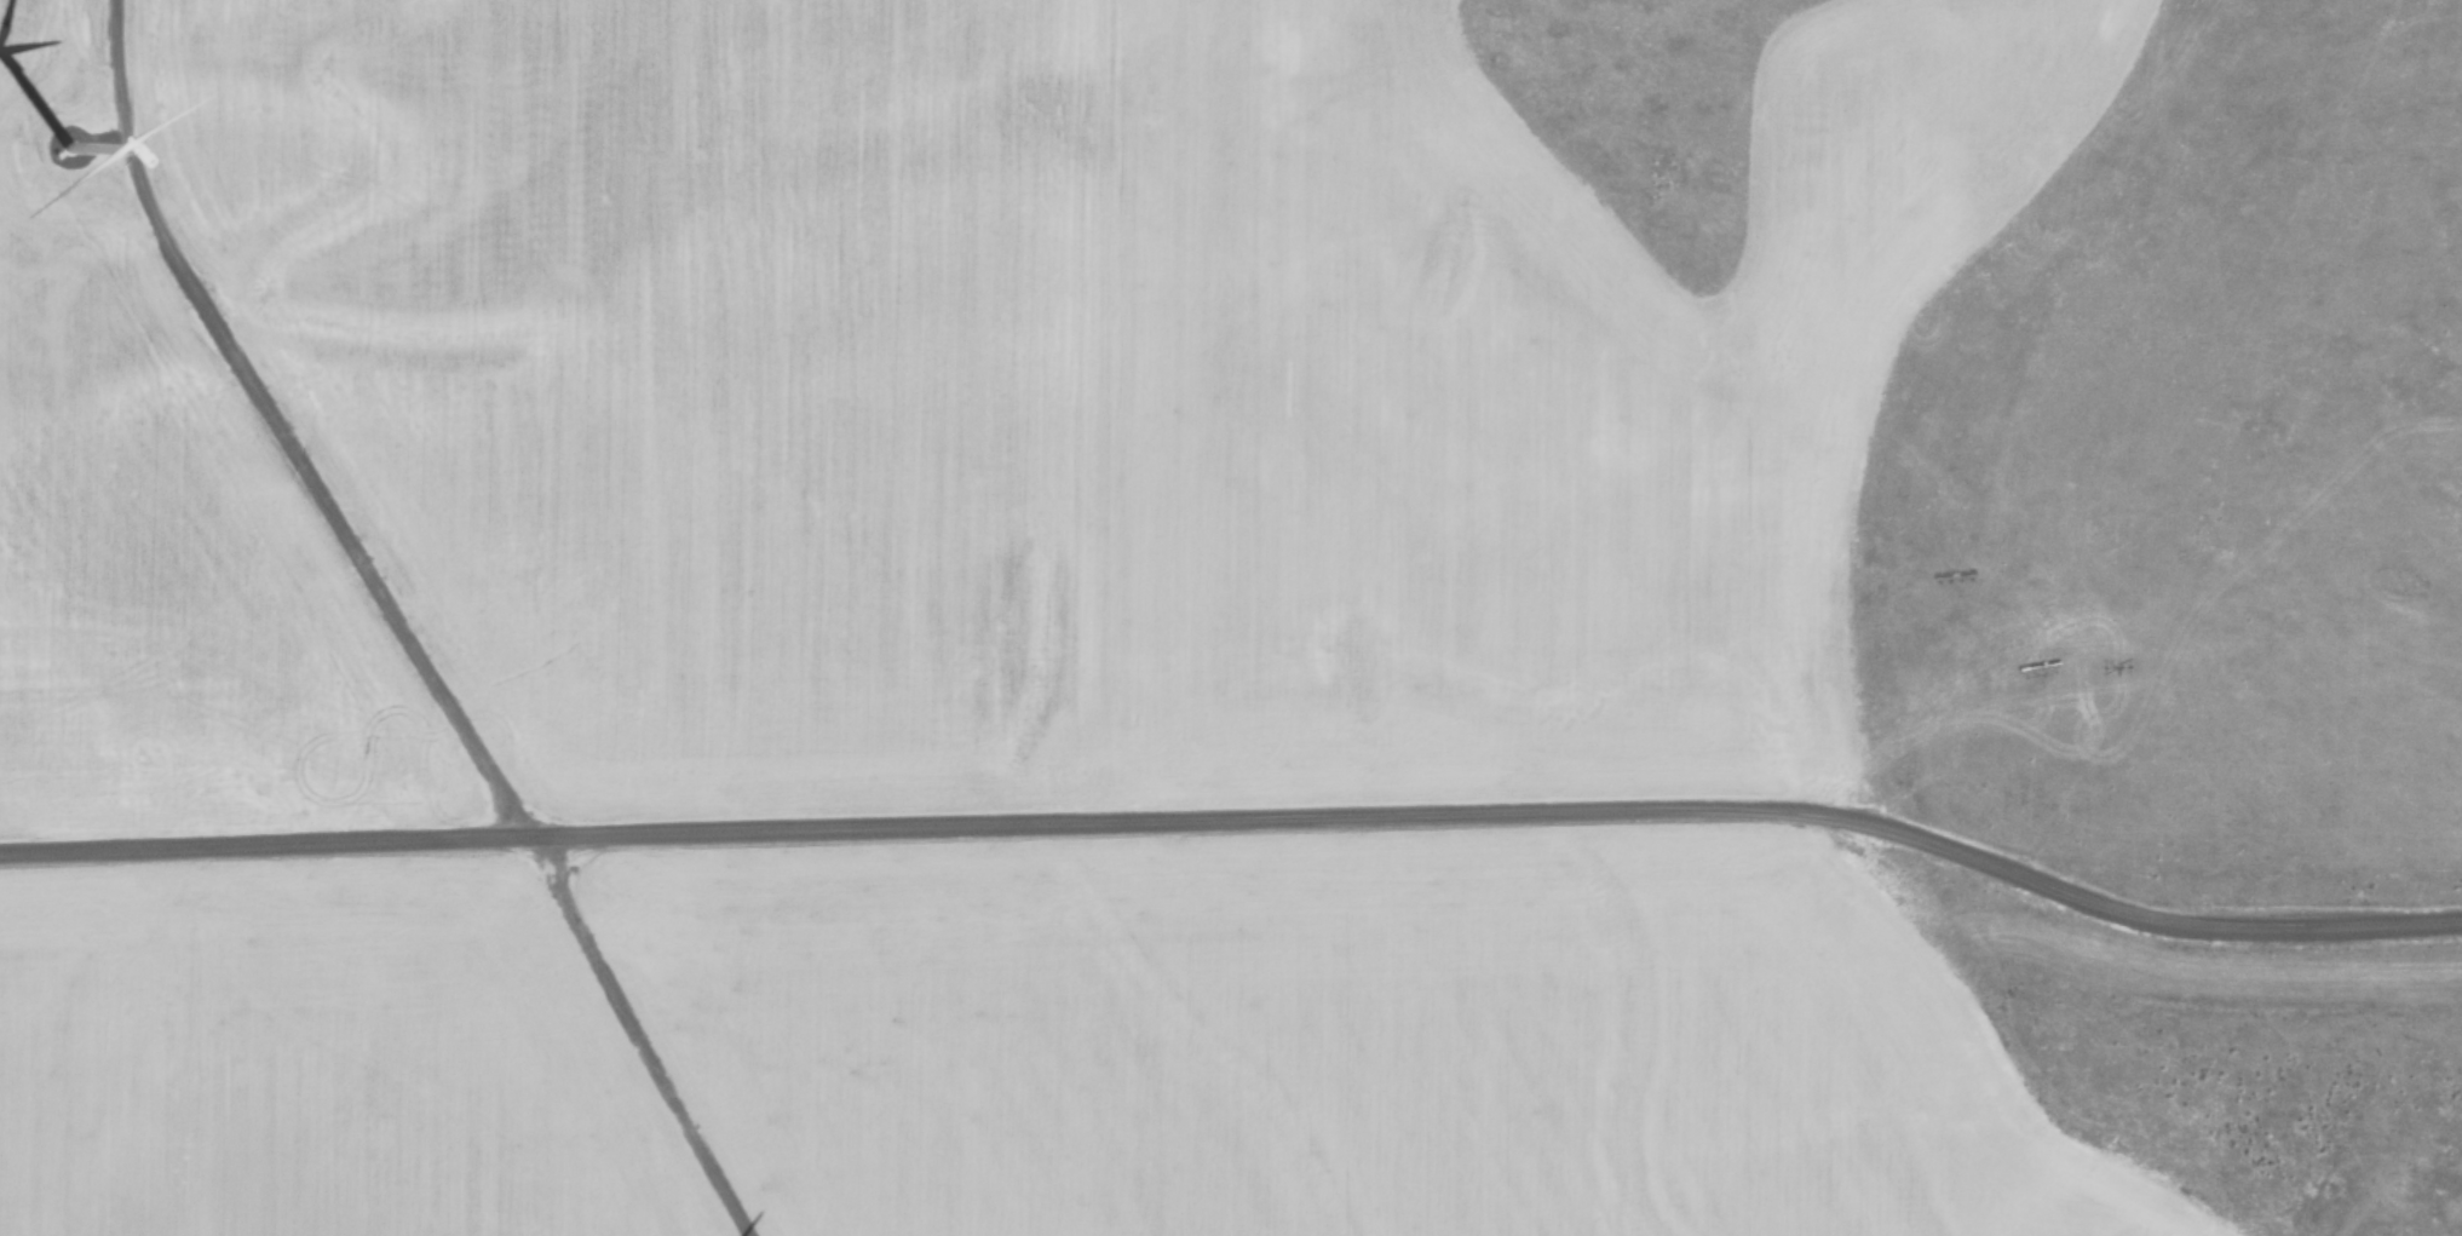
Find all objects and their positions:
wind turbine: (65, 150)
road: (280, 426)
road: (1239, 810)

